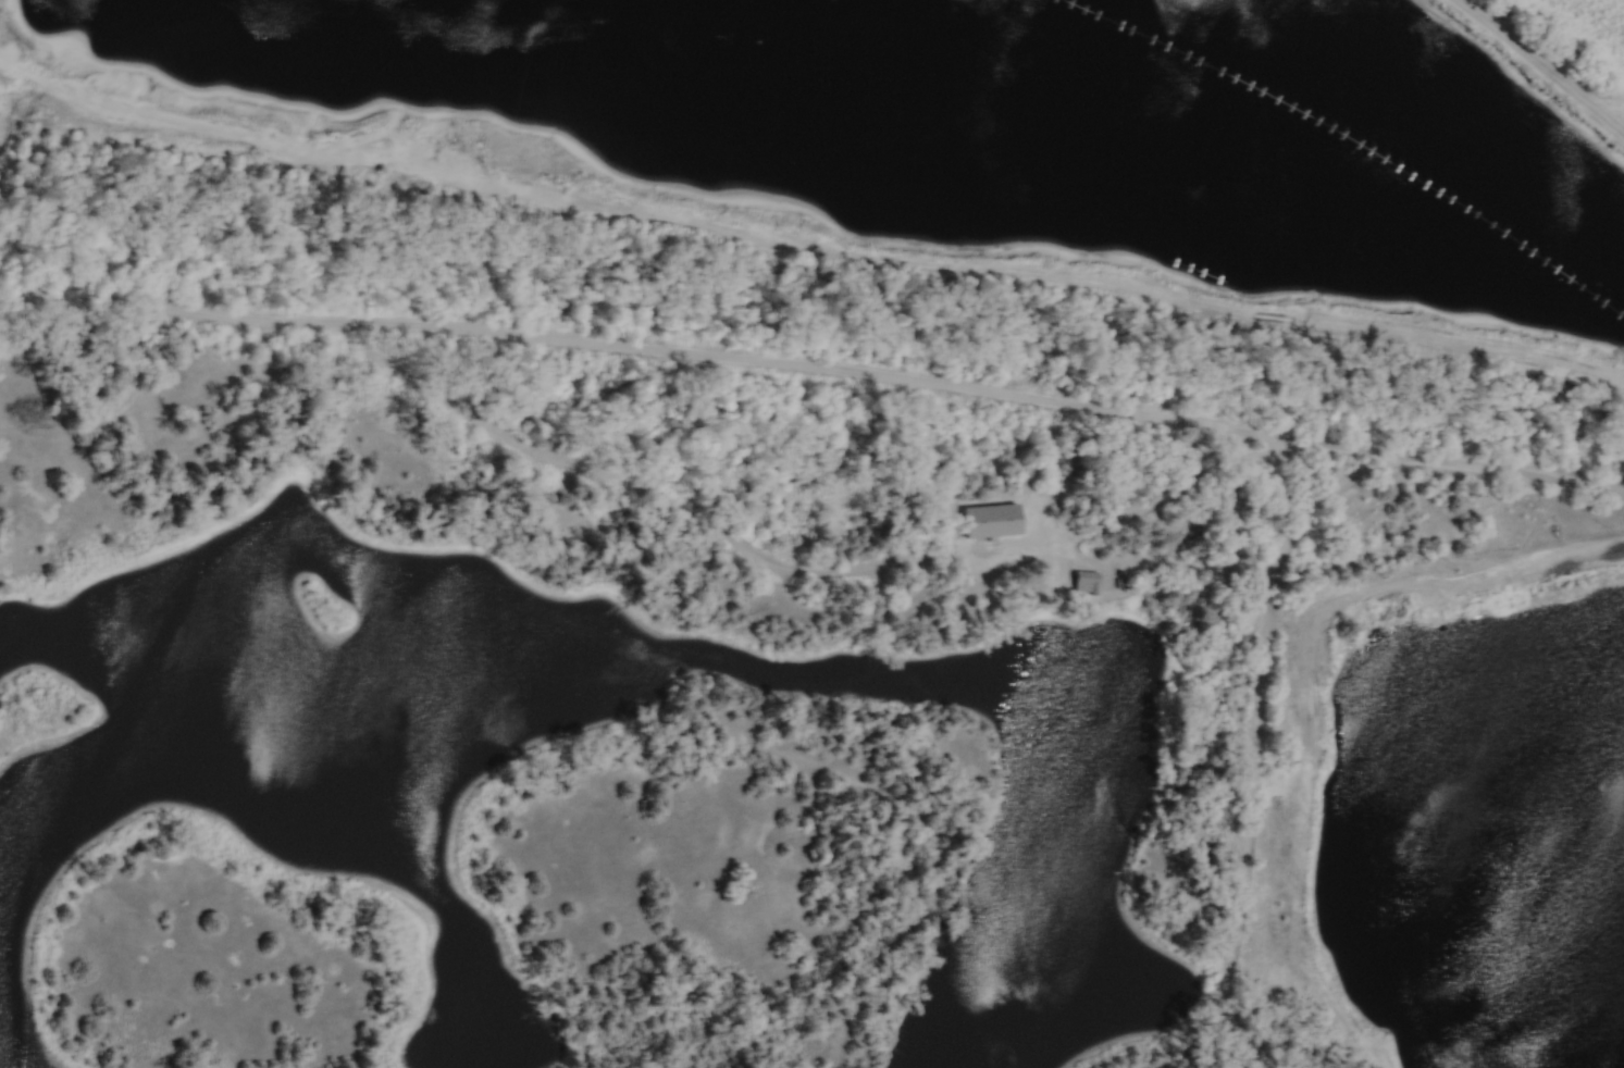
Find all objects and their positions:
road: (806, 368)
road: (1504, 475)
road: (684, 519)
building: (1086, 583)
road: (1252, 738)

